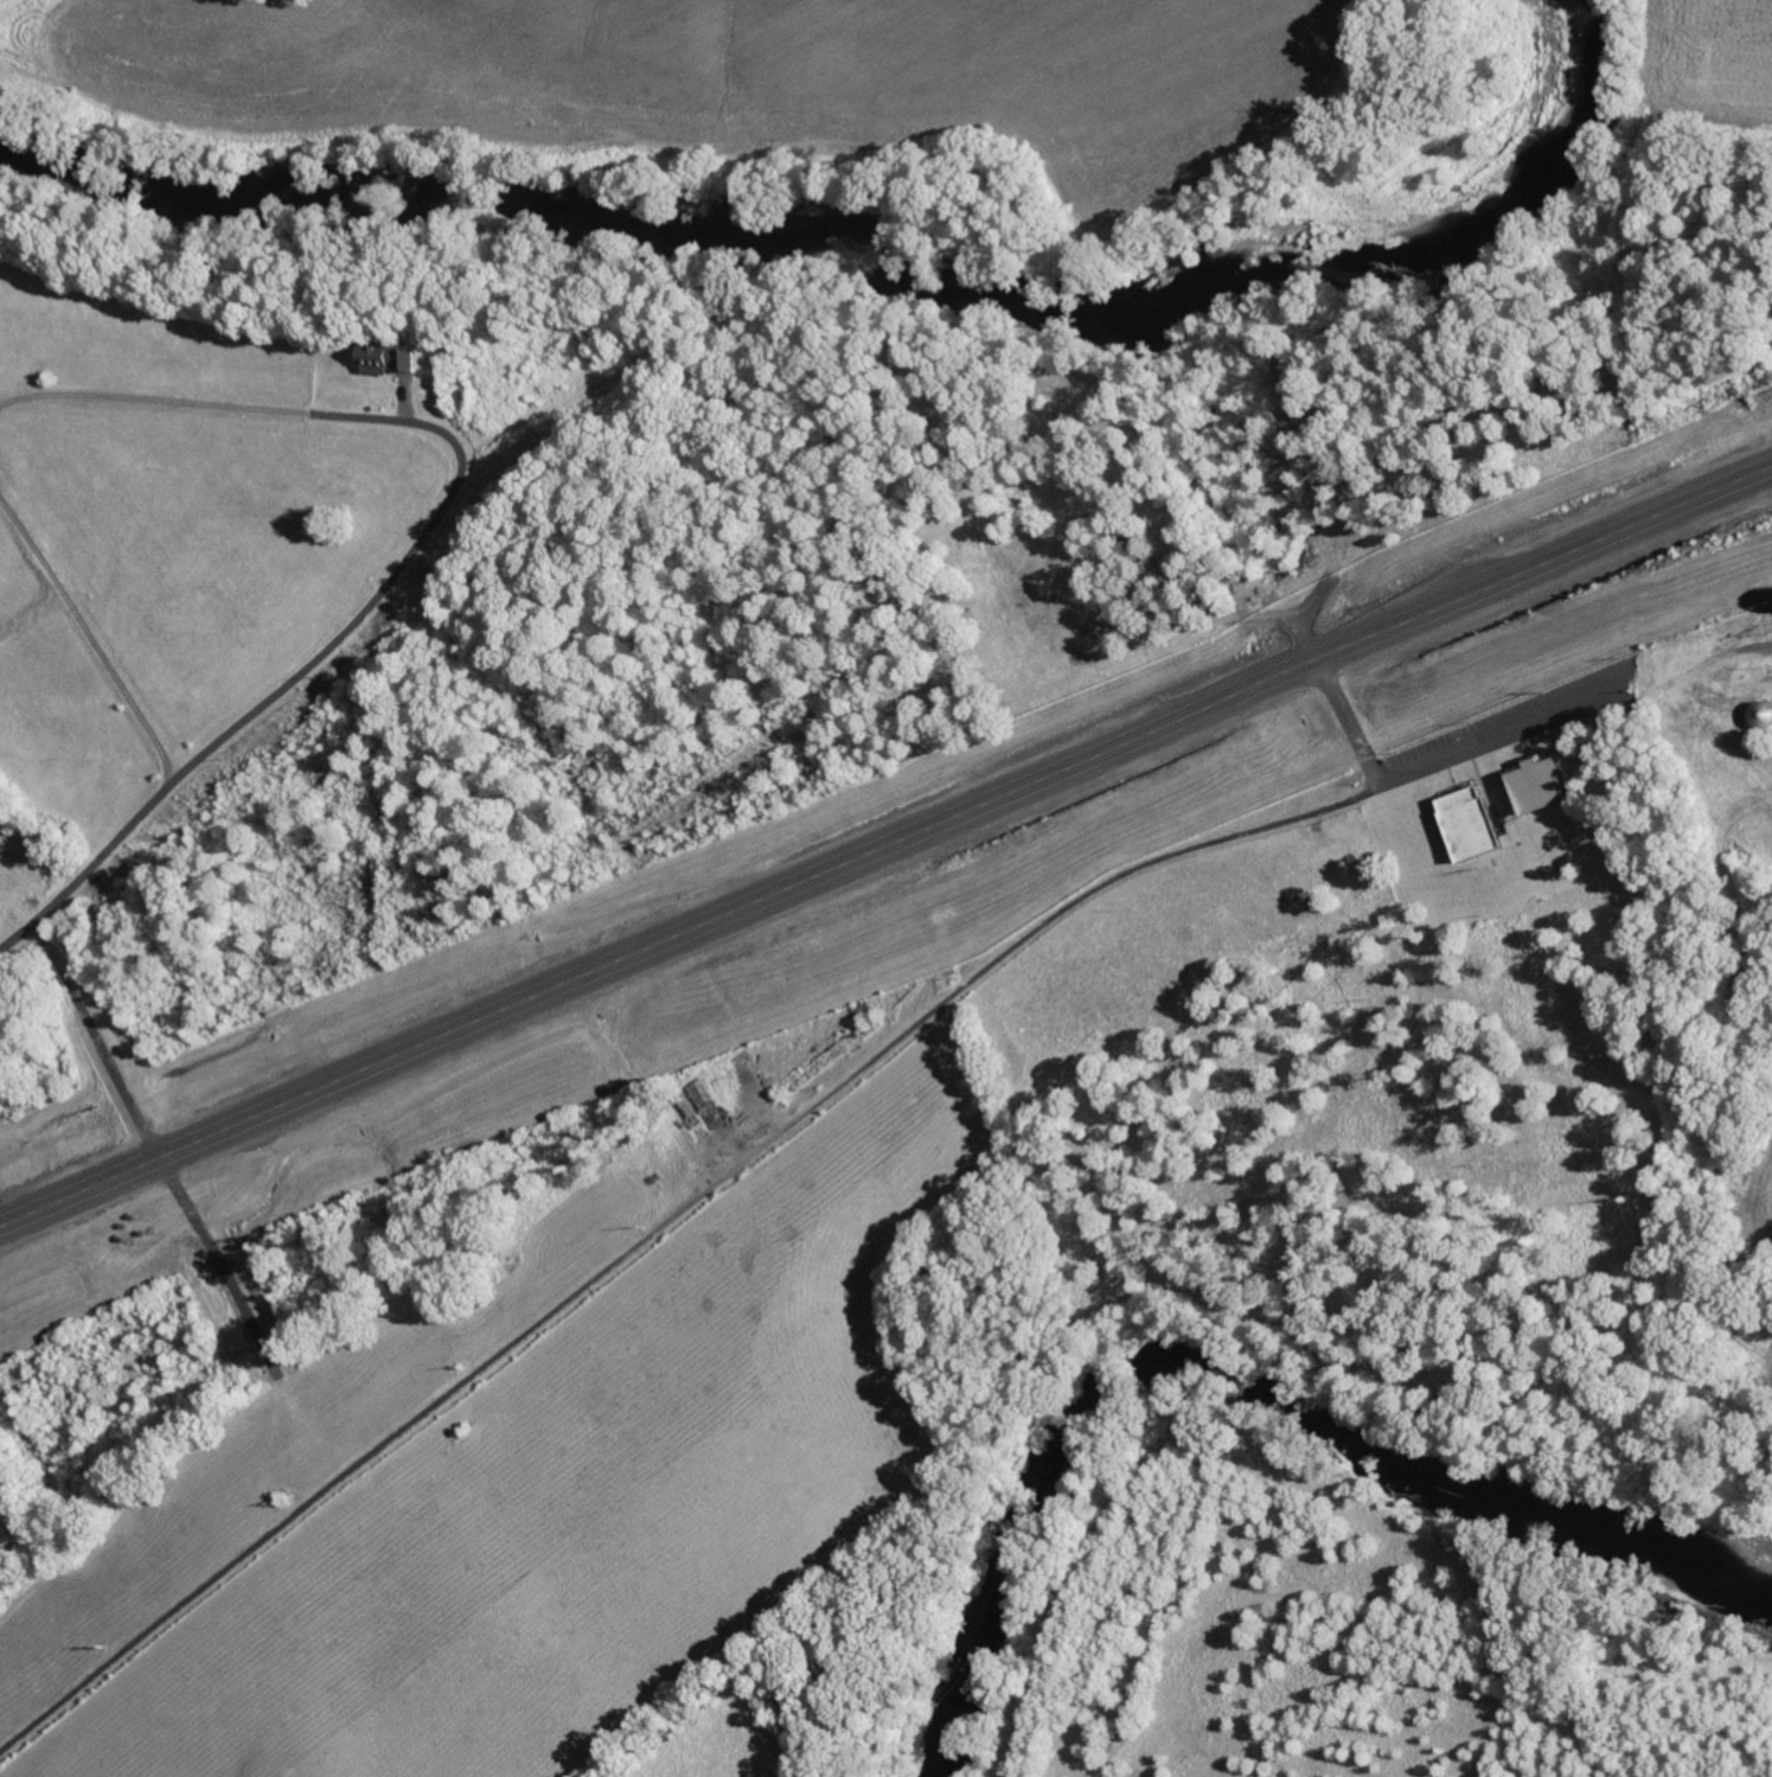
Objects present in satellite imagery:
building: (396, 358)
road: (385, 581)
road: (1584, 714)
road: (1345, 724)
building: (1547, 786)
building: (1476, 824)
road: (883, 842)
road: (91, 865)
road: (92, 1041)
road: (660, 1223)

